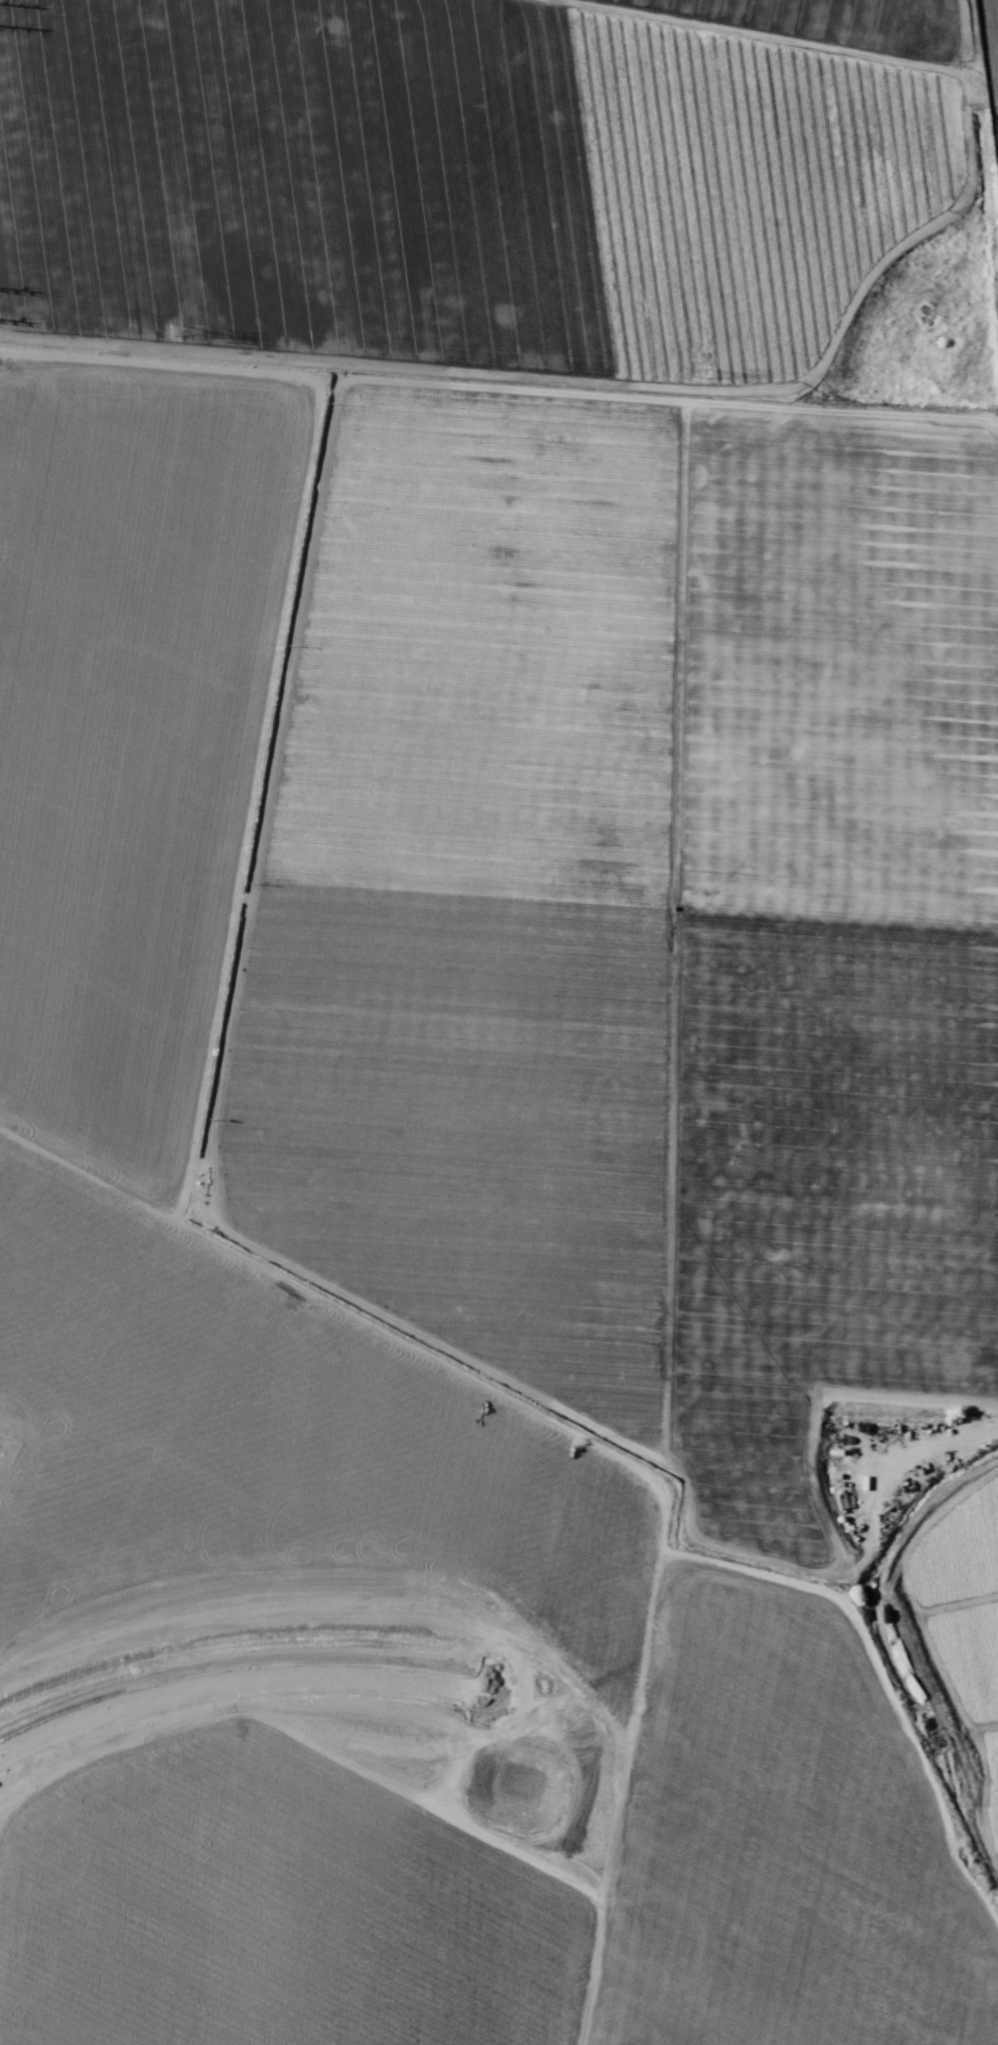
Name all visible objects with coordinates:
road: (976, 167)
power tower: (174, 330)
power tower: (702, 373)
crop: (497, 1024)

